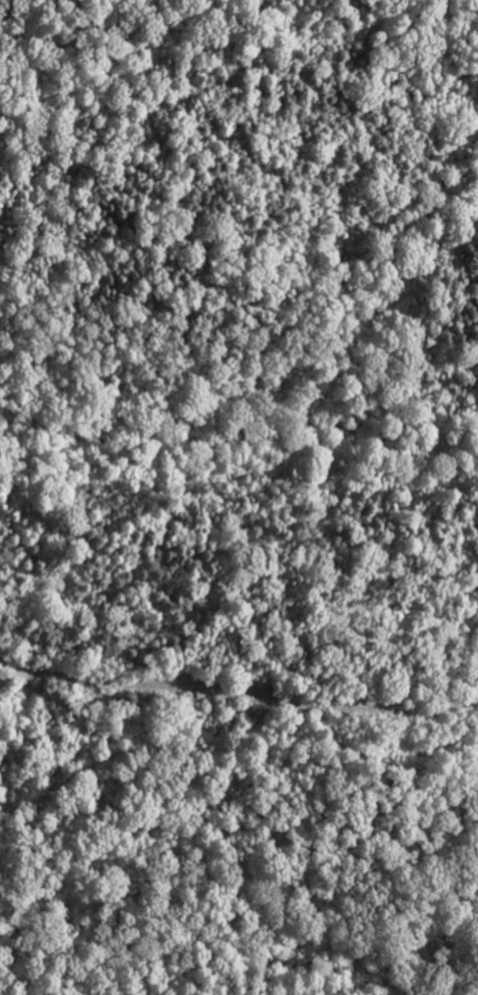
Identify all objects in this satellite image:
road: (238, 692)

